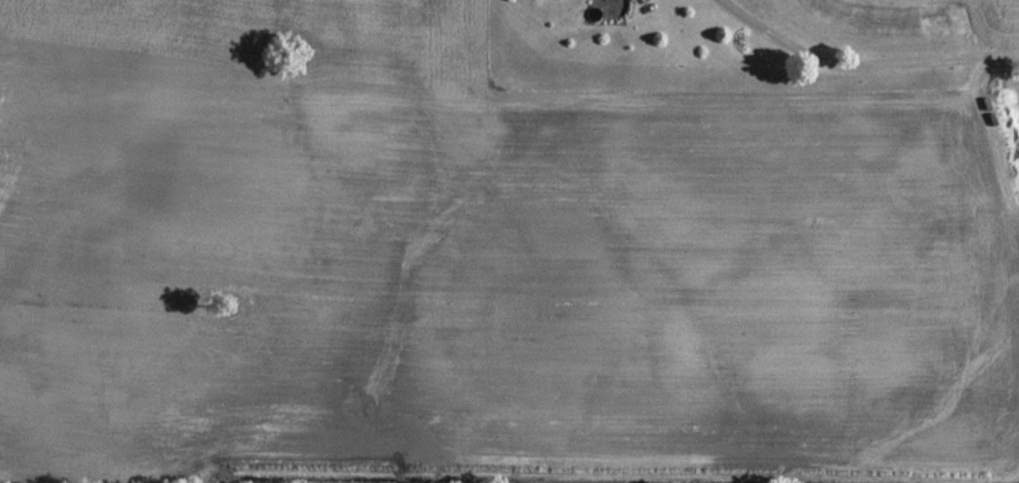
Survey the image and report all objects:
road: (869, 60)

